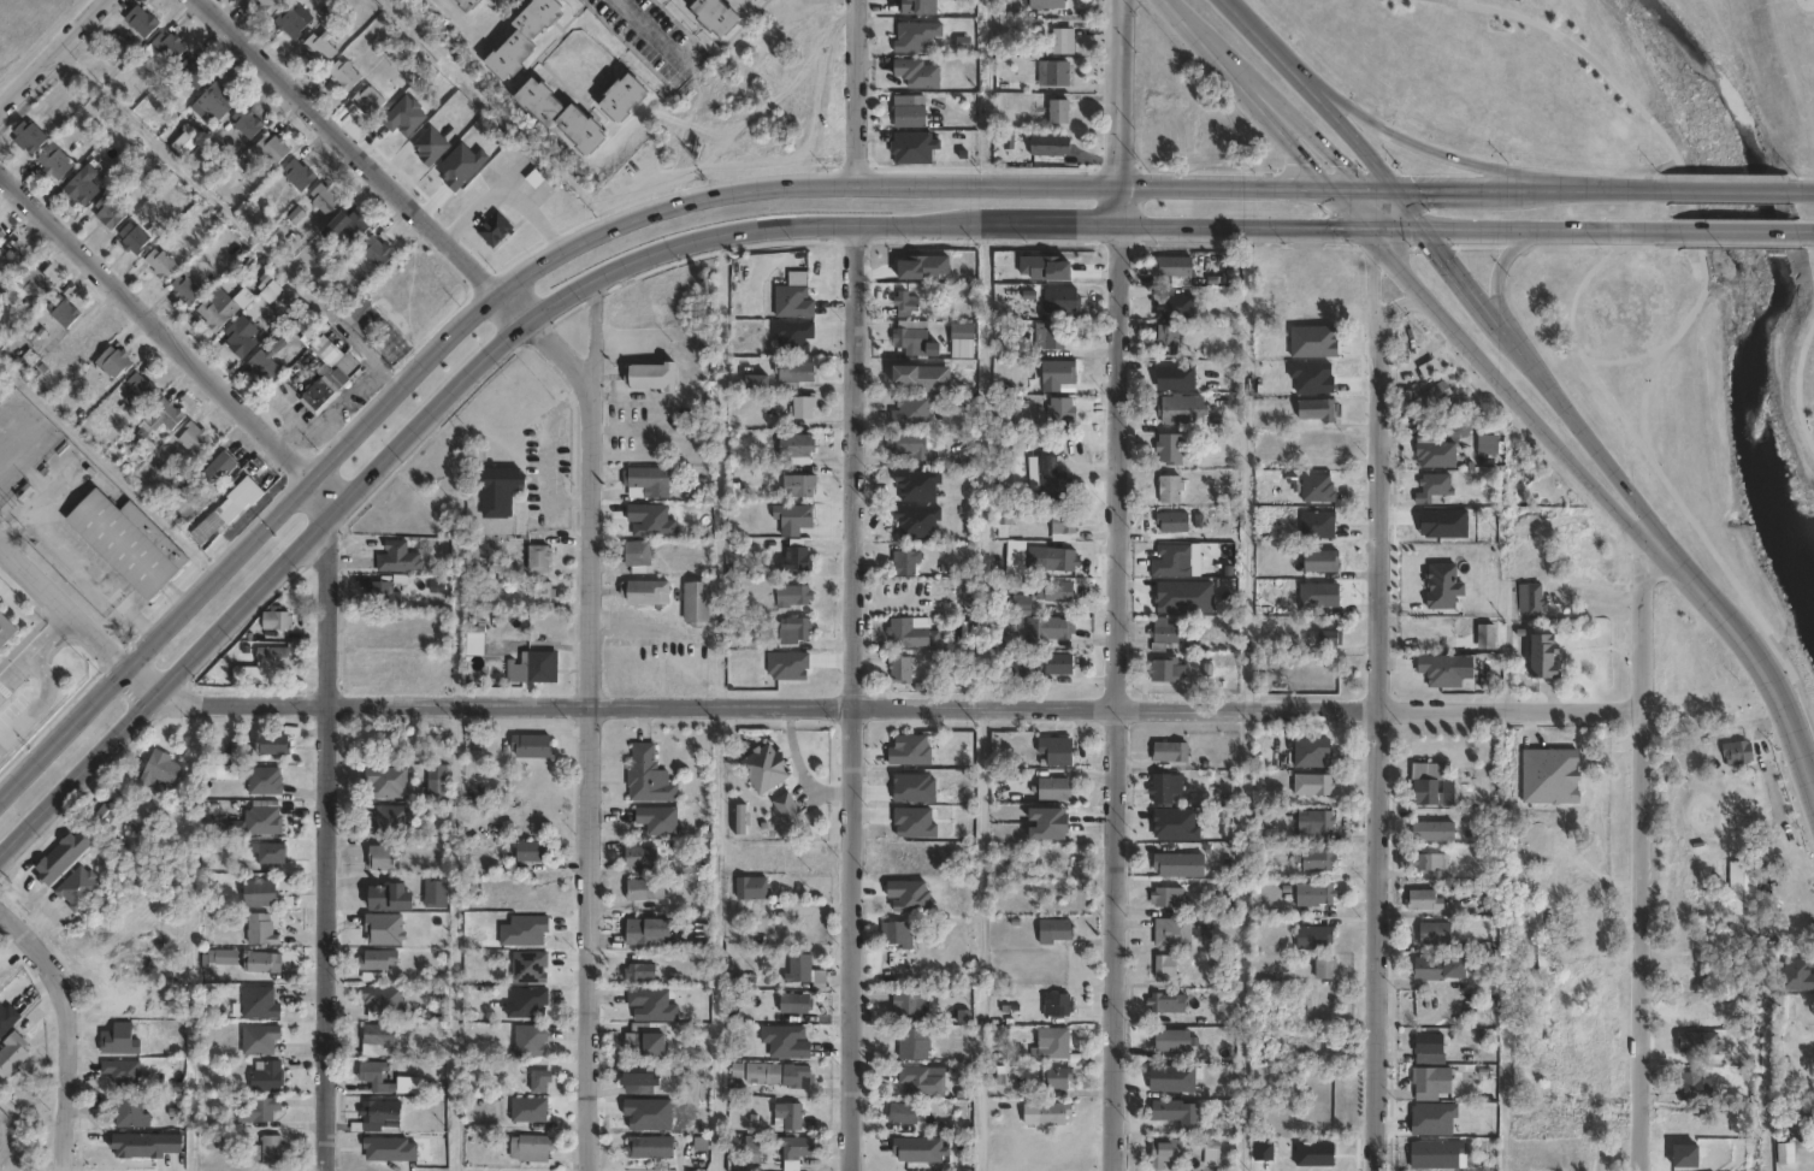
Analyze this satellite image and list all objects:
building: (696, 0)
park: (4, 4)
building: (1047, 4)
building: (270, 5)
building: (468, 5)
building: (538, 17)
building: (716, 17)
building: (141, 22)
building: (290, 24)
road: (651, 32)
building: (916, 37)
road: (1255, 39)
road: (41, 42)
building: (1064, 42)
building: (167, 47)
building: (319, 48)
building: (510, 57)
road: (1565, 64)
park: (1591, 69)
building: (194, 73)
building: (917, 73)
building: (1057, 73)
building: (344, 76)
road: (856, 91)
building: (624, 99)
building: (368, 102)
building: (539, 102)
building: (214, 104)
road: (1122, 111)
building: (1060, 112)
building: (909, 113)
building: (247, 124)
building: (580, 131)
building: (29, 137)
building: (184, 146)
building: (915, 148)
road: (1417, 148)
building: (271, 150)
building: (1052, 150)
road: (366, 159)
building: (54, 162)
building: (299, 176)
traffic signals: (1339, 182)
traffic signals: (1389, 182)
road: (1725, 183)
road: (1796, 183)
building: (82, 187)
road: (719, 194)
building: (324, 200)
road: (1692, 213)
building: (107, 214)
traffic signals: (1377, 226)
traffic signals: (1425, 226)
road: (1736, 227)
building: (345, 229)
road: (1803, 229)
building: (495, 230)
road: (719, 230)
building: (1, 238)
building: (132, 241)
building: (377, 253)
road: (1406, 259)
building: (11, 264)
building: (160, 266)
building: (1174, 266)
road: (1497, 273)
road: (1377, 282)
building: (36, 288)
building: (270, 288)
building: (185, 291)
road: (1479, 292)
building: (793, 296)
building: (1062, 298)
building: (905, 301)
road: (1407, 301)
building: (356, 309)
building: (63, 312)
building: (217, 312)
road: (589, 319)
road: (175, 333)
building: (792, 335)
building: (88, 336)
building: (1054, 336)
building: (241, 338)
building: (911, 339)
building: (1169, 339)
road: (560, 345)
building: (26, 362)
building: (114, 362)
building: (264, 367)
building: (794, 373)
building: (652, 375)
building: (329, 377)
building: (760, 380)
road: (1796, 385)
building: (140, 394)
building: (1437, 395)
road: (344, 398)
park: (1704, 404)
building: (804, 406)
building: (1183, 409)
building: (1319, 409)
building: (1063, 412)
building: (165, 416)
building: (194, 438)
building: (910, 445)
building: (797, 448)
building: (1172, 448)
building: (1438, 454)
road: (982, 463)
building: (219, 468)
building: (1050, 474)
building: (646, 481)
building: (800, 486)
building: (1435, 486)
building: (1171, 487)
building: (1318, 487)
building: (500, 491)
building: (697, 491)
road: (1715, 503)
building: (228, 509)
building: (792, 518)
building: (642, 520)
building: (1174, 521)
building: (1068, 522)
building: (1319, 525)
building: (128, 543)
building: (638, 555)
building: (398, 557)
building: (539, 557)
building: (796, 558)
building: (1062, 560)
building: (1171, 561)
building: (1322, 561)
building: (904, 563)
building: (1059, 591)
building: (383, 592)
building: (542, 592)
building: (646, 592)
building: (793, 596)
building: (1535, 599)
road: (120, 601)
building: (696, 603)
building: (1024, 605)
road: (76, 616)
building: (276, 620)
building: (1331, 623)
building: (5, 629)
building: (796, 629)
building: (1048, 629)
building: (908, 633)
building: (1328, 633)
building: (1163, 634)
building: (1488, 635)
road: (51, 638)
road: (1749, 639)
building: (273, 657)
building: (1547, 657)
building: (532, 667)
building: (1041, 667)
building: (902, 669)
building: (1169, 669)
building: (1442, 670)
road: (13, 674)
road: (853, 696)
road: (1118, 696)
road: (902, 705)
road: (41, 710)
building: (271, 744)
building: (532, 746)
building: (912, 751)
building: (1057, 751)
building: (1171, 752)
building: (1313, 752)
building: (1738, 752)
road: (1379, 753)
building: (766, 768)
building: (160, 770)
road: (592, 771)
building: (648, 776)
building: (264, 781)
building: (386, 782)
building: (437, 783)
building: (1314, 785)
building: (1054, 788)
building: (1163, 789)
building: (1428, 793)
building: (1452, 793)
building: (788, 809)
building: (107, 812)
building: (658, 820)
building: (741, 820)
building: (262, 821)
building: (389, 821)
building: (1316, 821)
building: (1052, 823)
building: (1435, 832)
road: (331, 845)
road: (1645, 847)
building: (533, 851)
building: (271, 853)
building: (643, 857)
building: (380, 859)
building: (1322, 860)
building: (1180, 865)
building: (1432, 865)
building: (752, 888)
building: (1744, 888)
building: (78, 889)
building: (645, 889)
building: (436, 893)
building: (260, 894)
building: (1316, 894)
building: (1166, 897)
building: (389, 898)
building: (1425, 901)
building: (261, 930)
building: (648, 932)
building: (1054, 932)
building: (896, 934)
building: (1174, 934)
building: (1437, 934)
road: (717, 938)
building: (1314, 938)
road: (37, 956)
building: (376, 960)
building: (209, 962)
building: (261, 963)
building: (1489, 964)
building: (1165, 966)
building: (1459, 968)
building: (799, 969)
building: (1326, 969)
building: (1431, 970)
building: (640, 974)
building: (383, 999)
building: (259, 1004)
building: (1168, 1004)
building: (800, 1005)
building: (908, 1005)
building: (1060, 1005)
building: (1784, 1011)
building: (1218, 1013)
building: (935, 1015)
building: (380, 1036)
building: (119, 1040)
building: (259, 1040)
building: (530, 1041)
building: (1174, 1041)
building: (633, 1045)
building: (656, 1045)
building: (915, 1045)
building: (1429, 1045)
building: (1054, 1046)
building: (12, 1055)
building: (123, 1075)
building: (638, 1075)
building: (779, 1076)
building: (376, 1077)
building: (266, 1078)
building: (539, 1082)
building: (922, 1082)
building: (1058, 1082)
building: (1432, 1083)
road: (66, 1087)
building: (1691, 1087)
building: (528, 1110)
building: (258, 1111)
building: (1169, 1111)
building: (1053, 1113)
building: (130, 1114)
building: (904, 1114)
building: (378, 1116)
building: (790, 1117)
building: (754, 1143)
building: (531, 1148)
building: (651, 1148)
building: (796, 1148)
building: (271, 1151)
building: (1169, 1152)
building: (1780, 1153)
building: (1212, 1154)
building: (1438, 1155)

